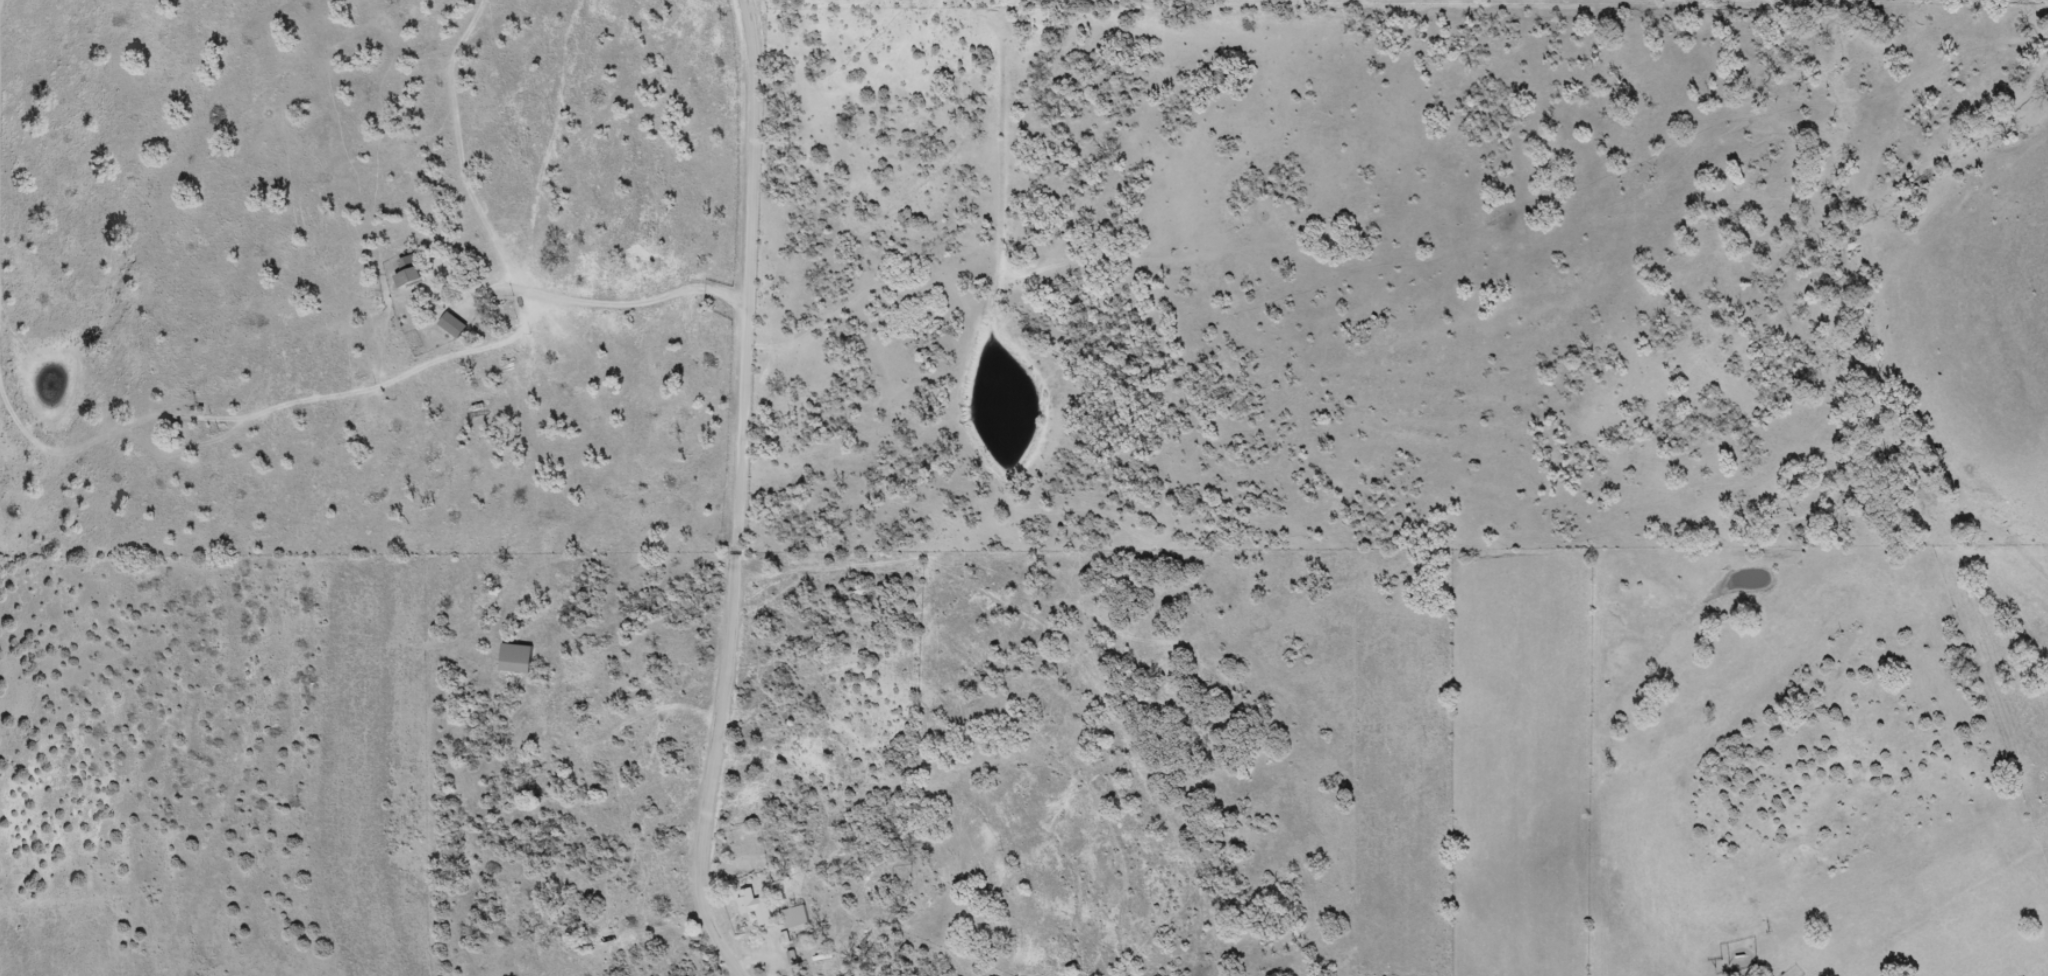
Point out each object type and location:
building: (412, 271)
building: (455, 325)
road: (742, 488)
building: (517, 658)
building: (757, 906)
building: (796, 915)

